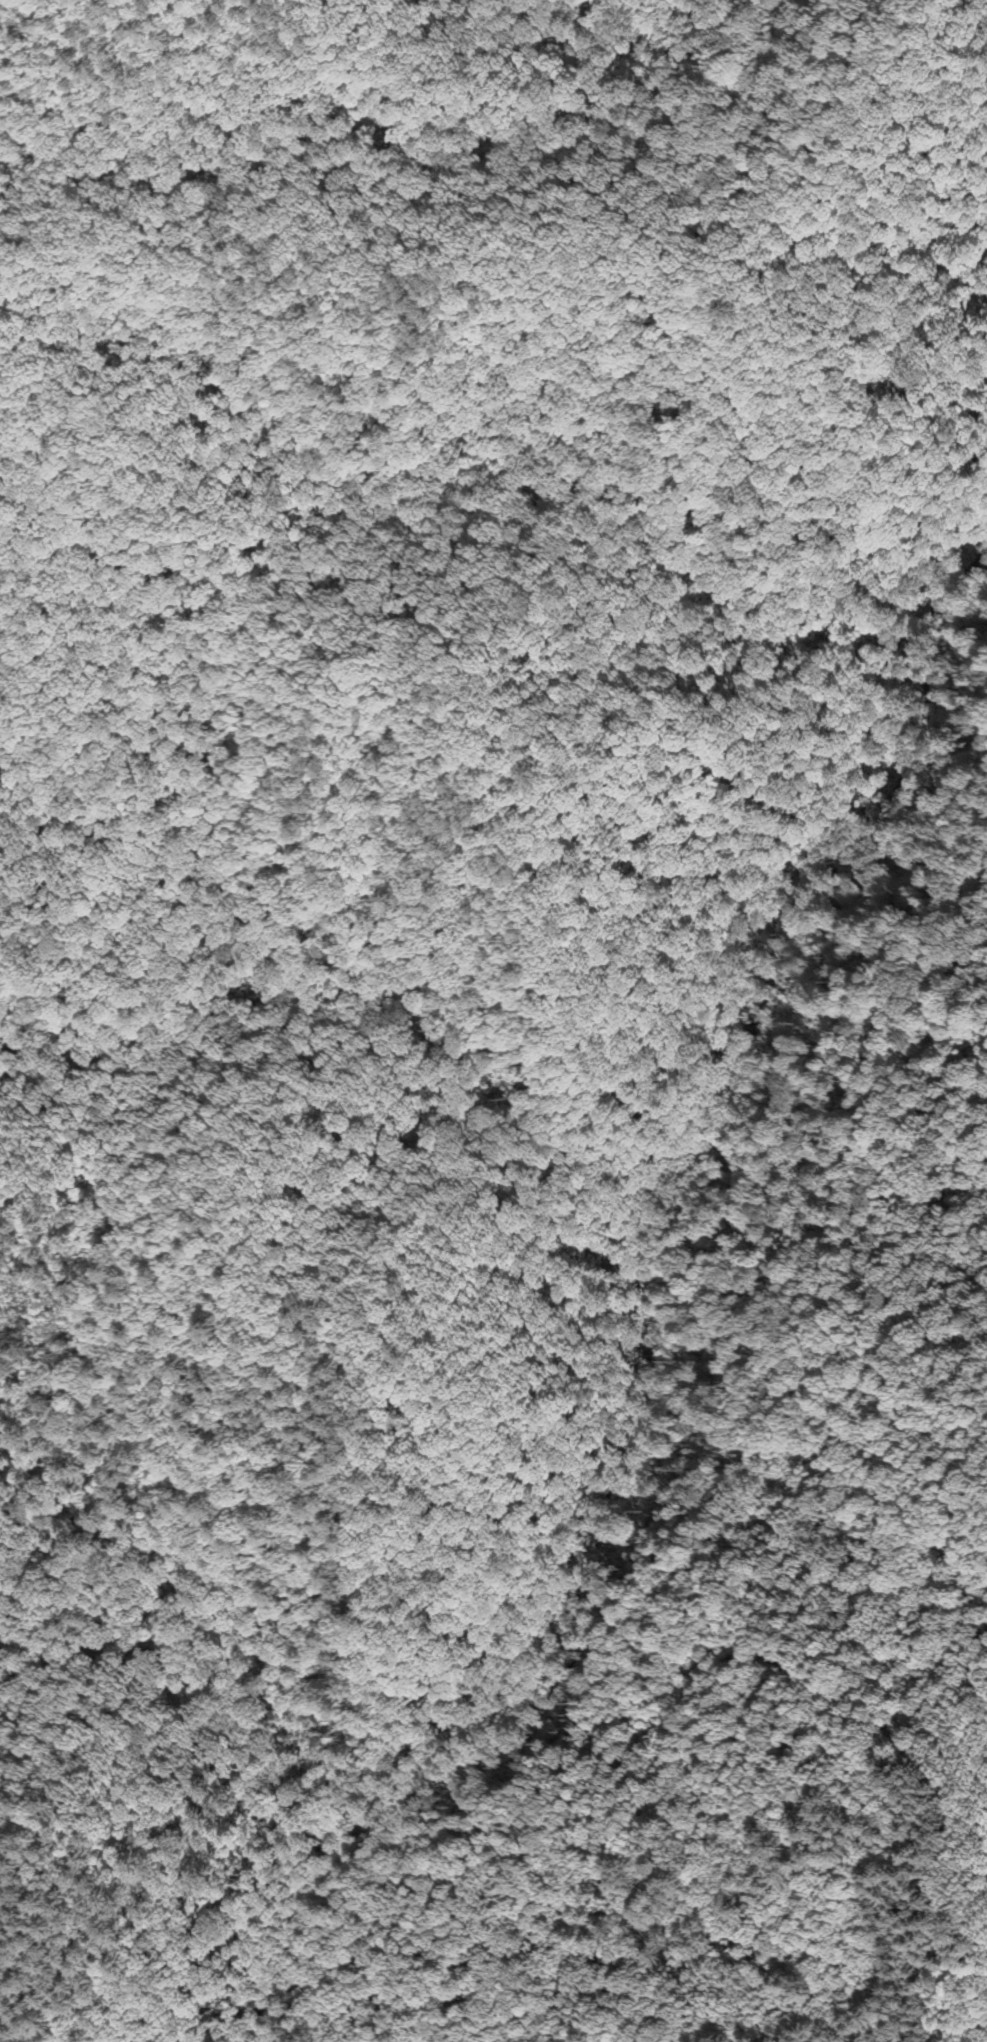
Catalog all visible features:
road: (655, 1888)

